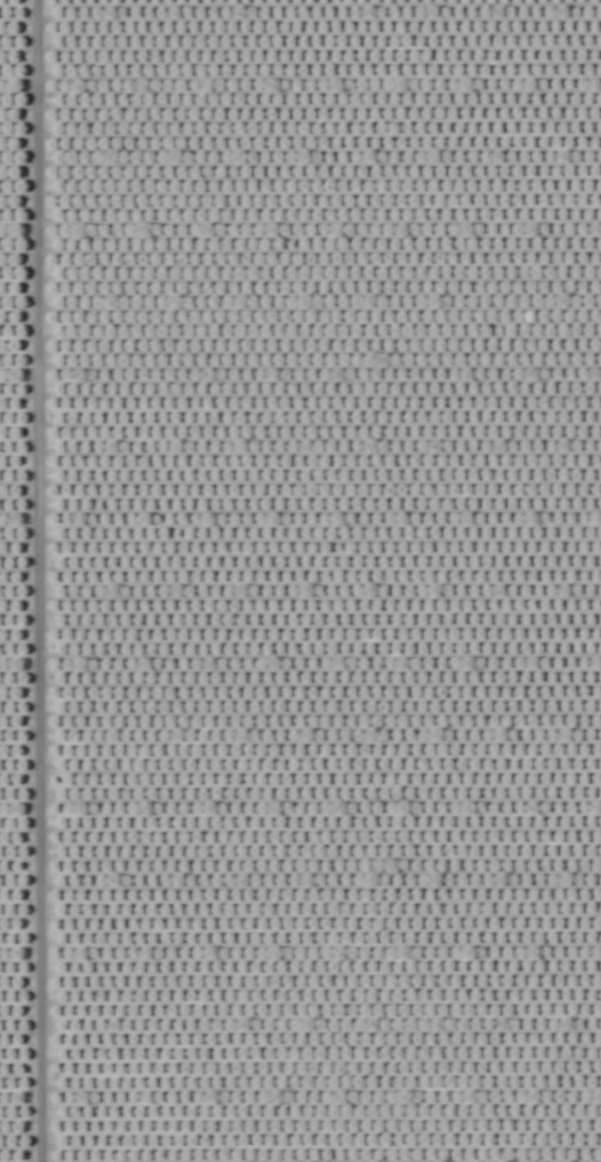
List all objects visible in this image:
road: (31, 581)
crop: (300, 581)

